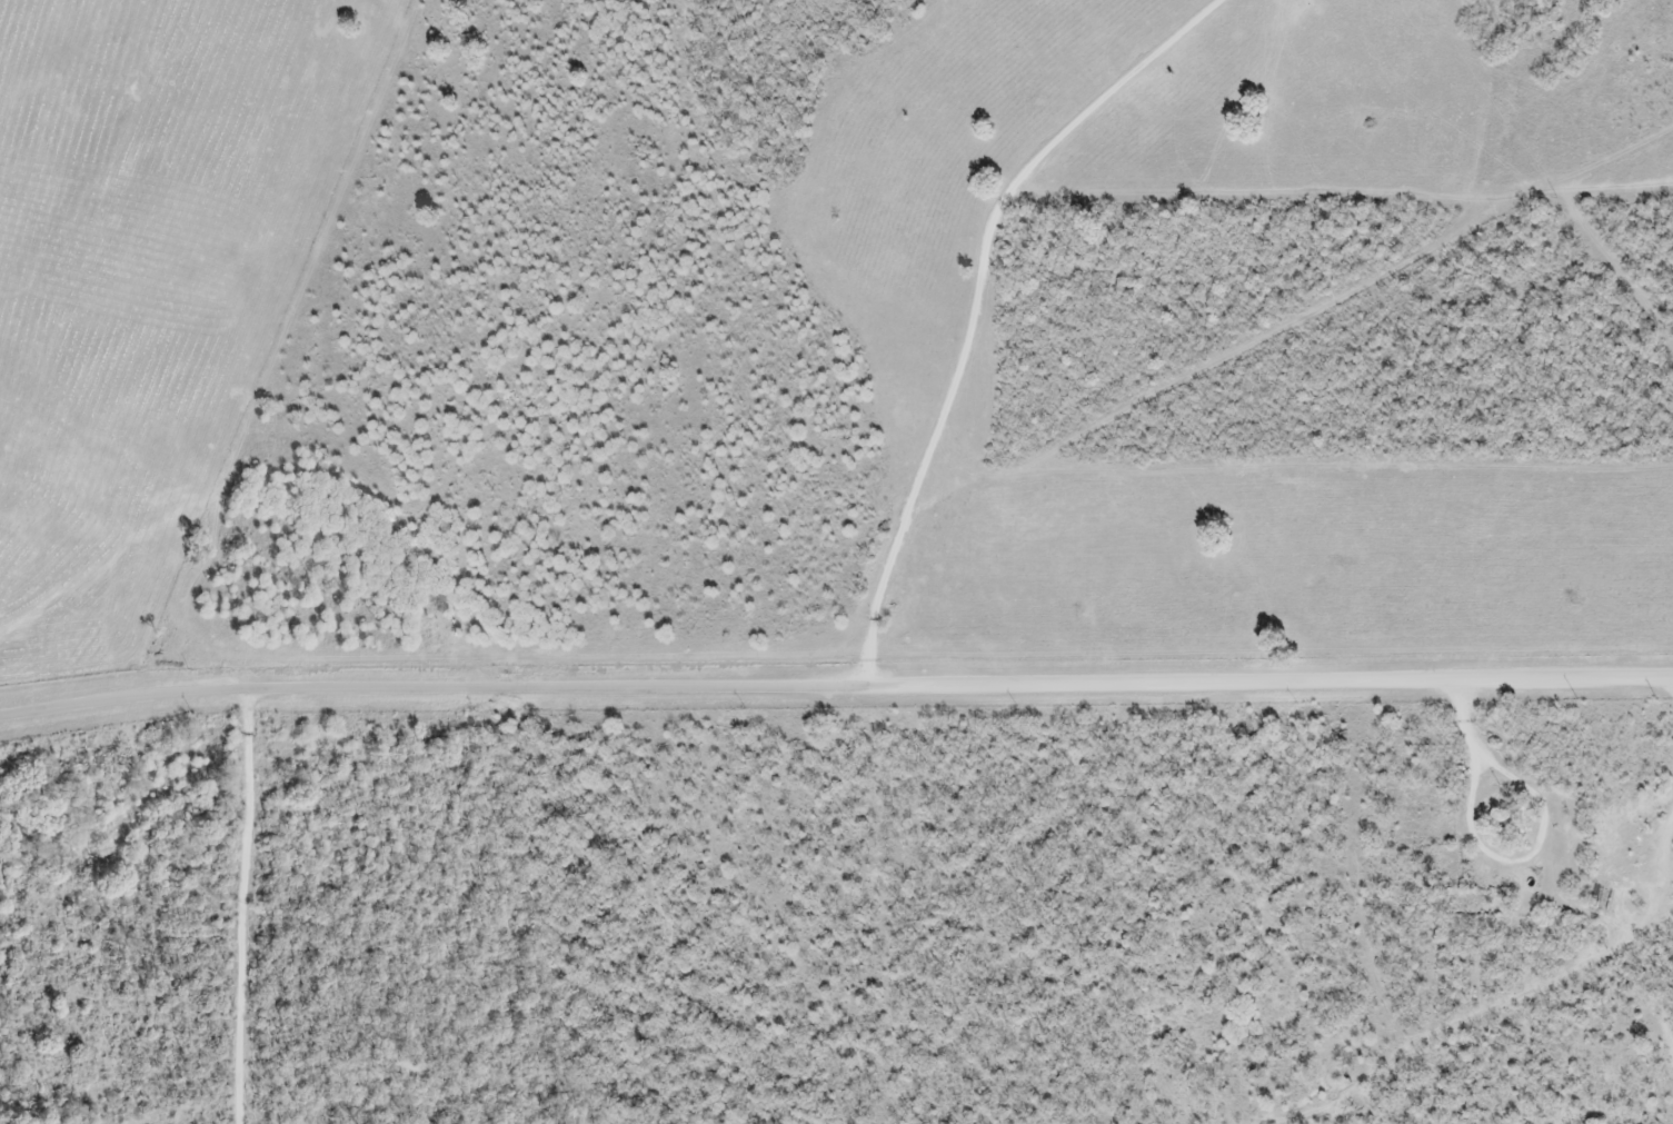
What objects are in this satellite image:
road: (835, 683)
building: (1513, 825)
road: (247, 903)

